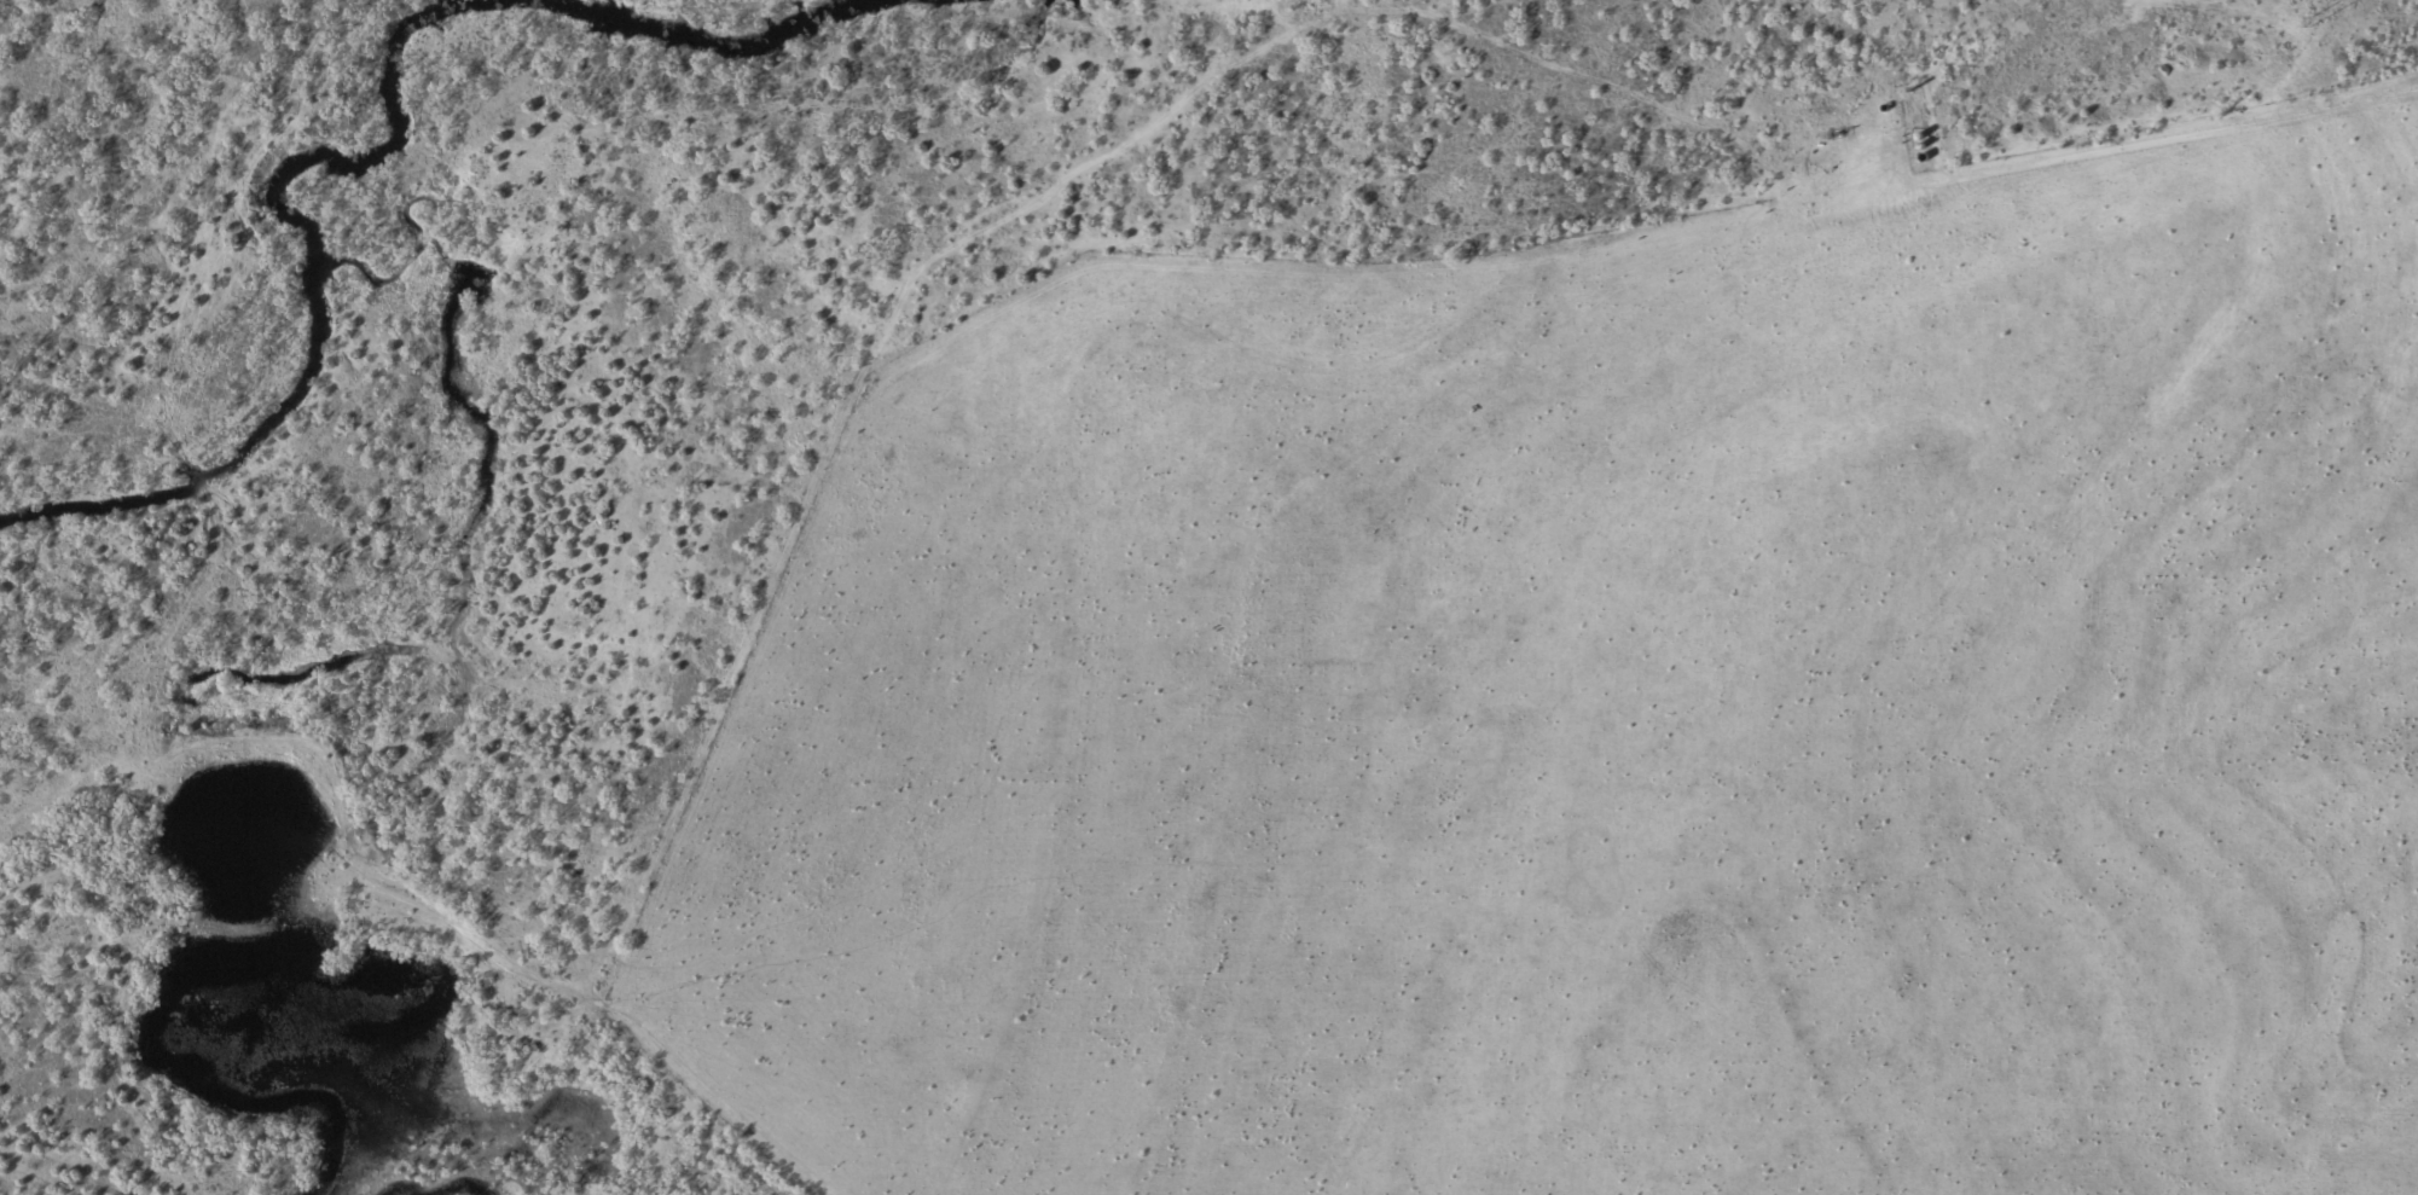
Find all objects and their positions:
power tower: (2308, 21)
petroleum well: (1833, 129)

